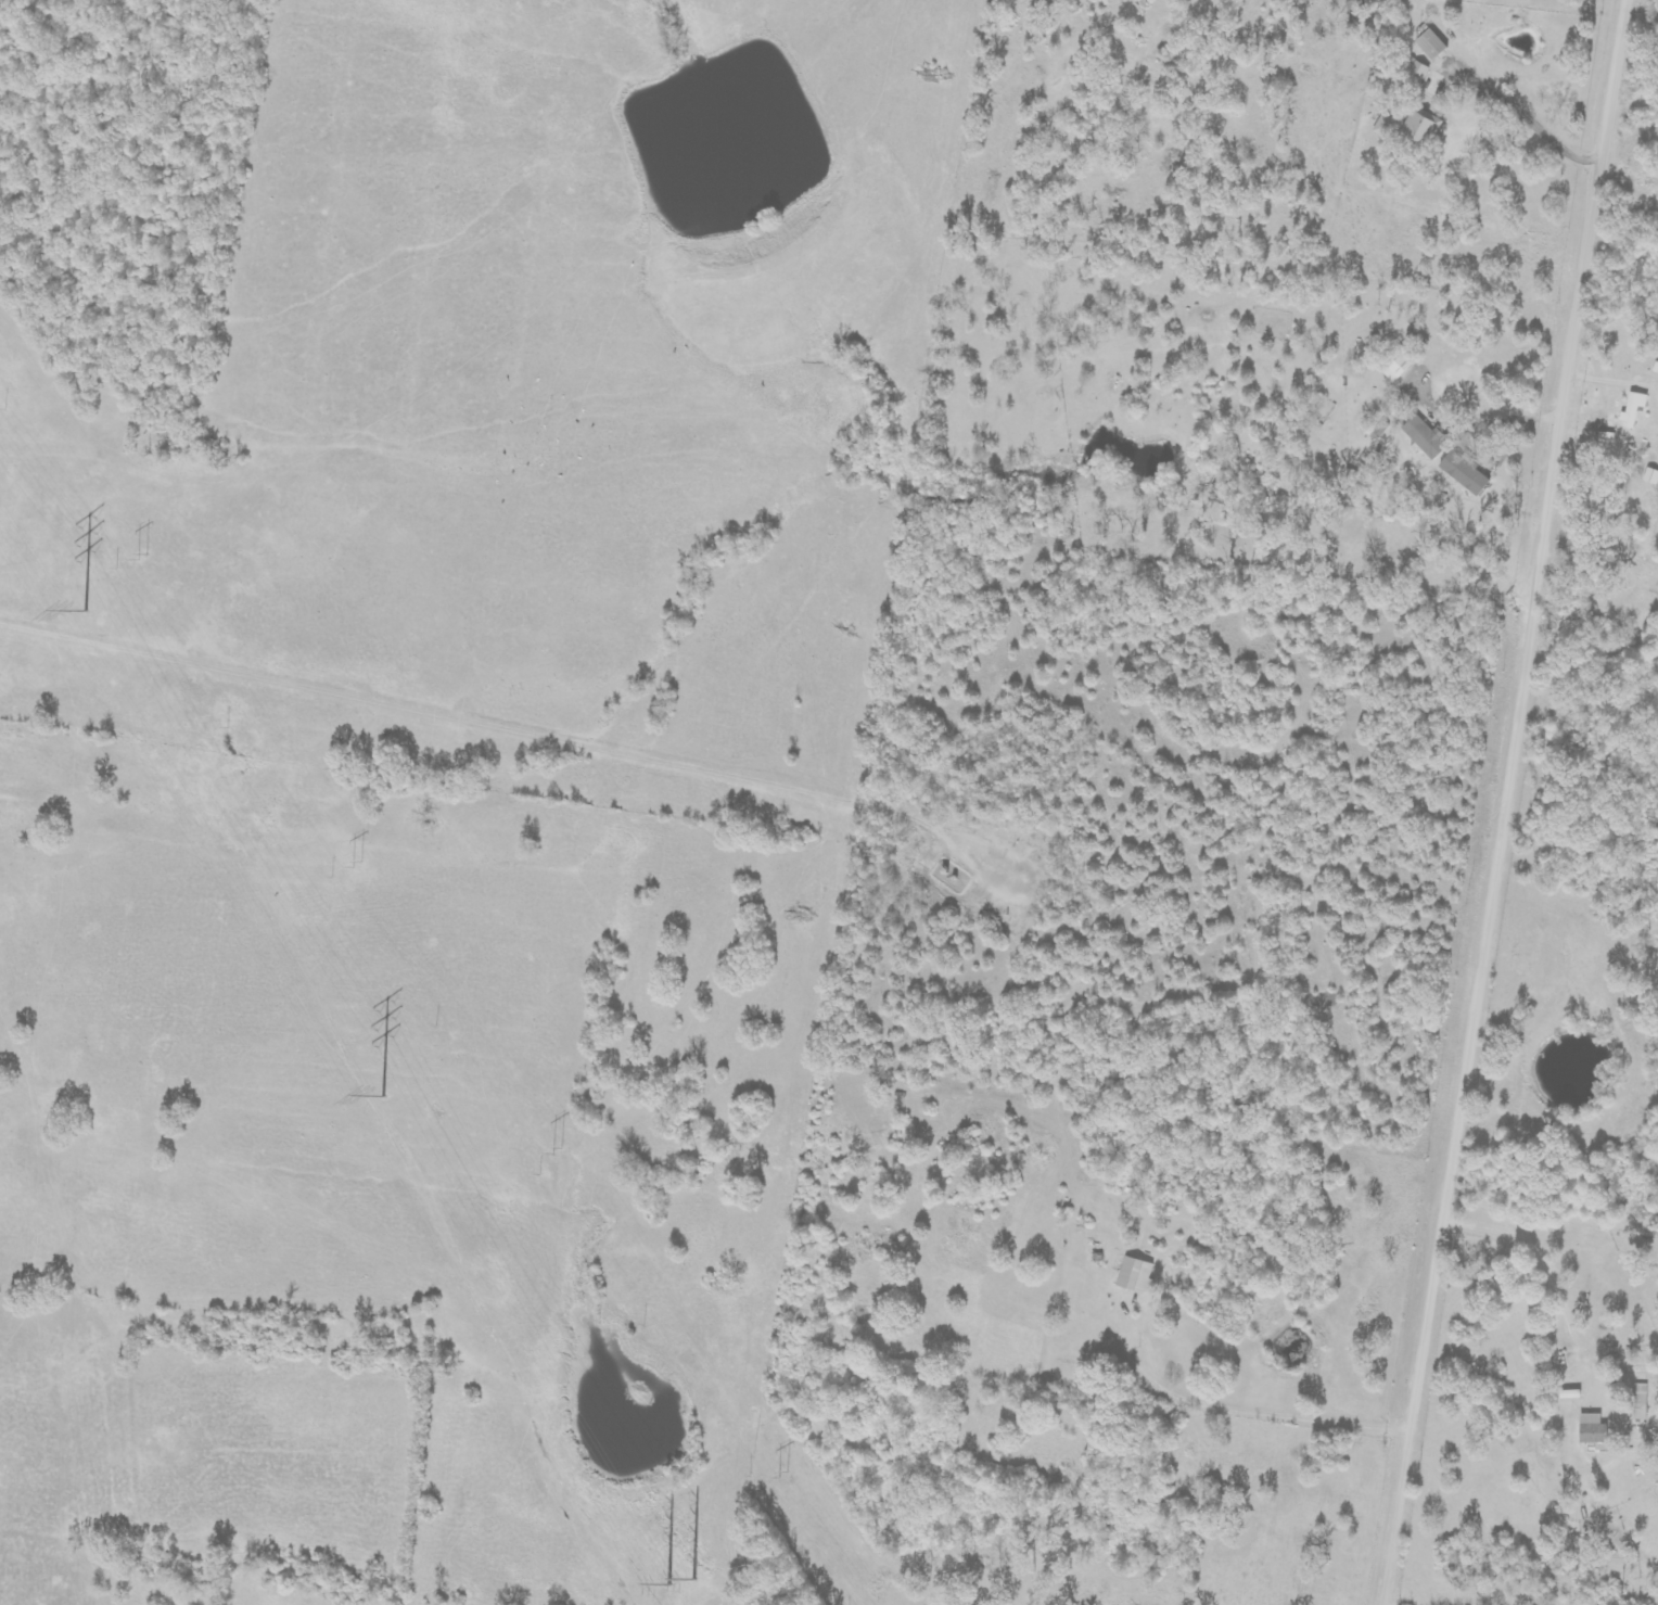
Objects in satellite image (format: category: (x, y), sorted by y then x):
building: (1429, 44)
building: (1417, 73)
building: (1419, 126)
building: (1396, 364)
building: (1631, 409)
building: (1423, 436)
building: (1462, 472)
building: (1650, 476)
power tower: (145, 552)
power tower: (82, 604)
road: (1509, 802)
power tower: (356, 864)
power tower: (383, 1088)
power tower: (552, 1150)
building: (1135, 1275)
building: (1638, 1402)
building: (1591, 1434)
power tower: (780, 1475)
power tower: (679, 1574)

